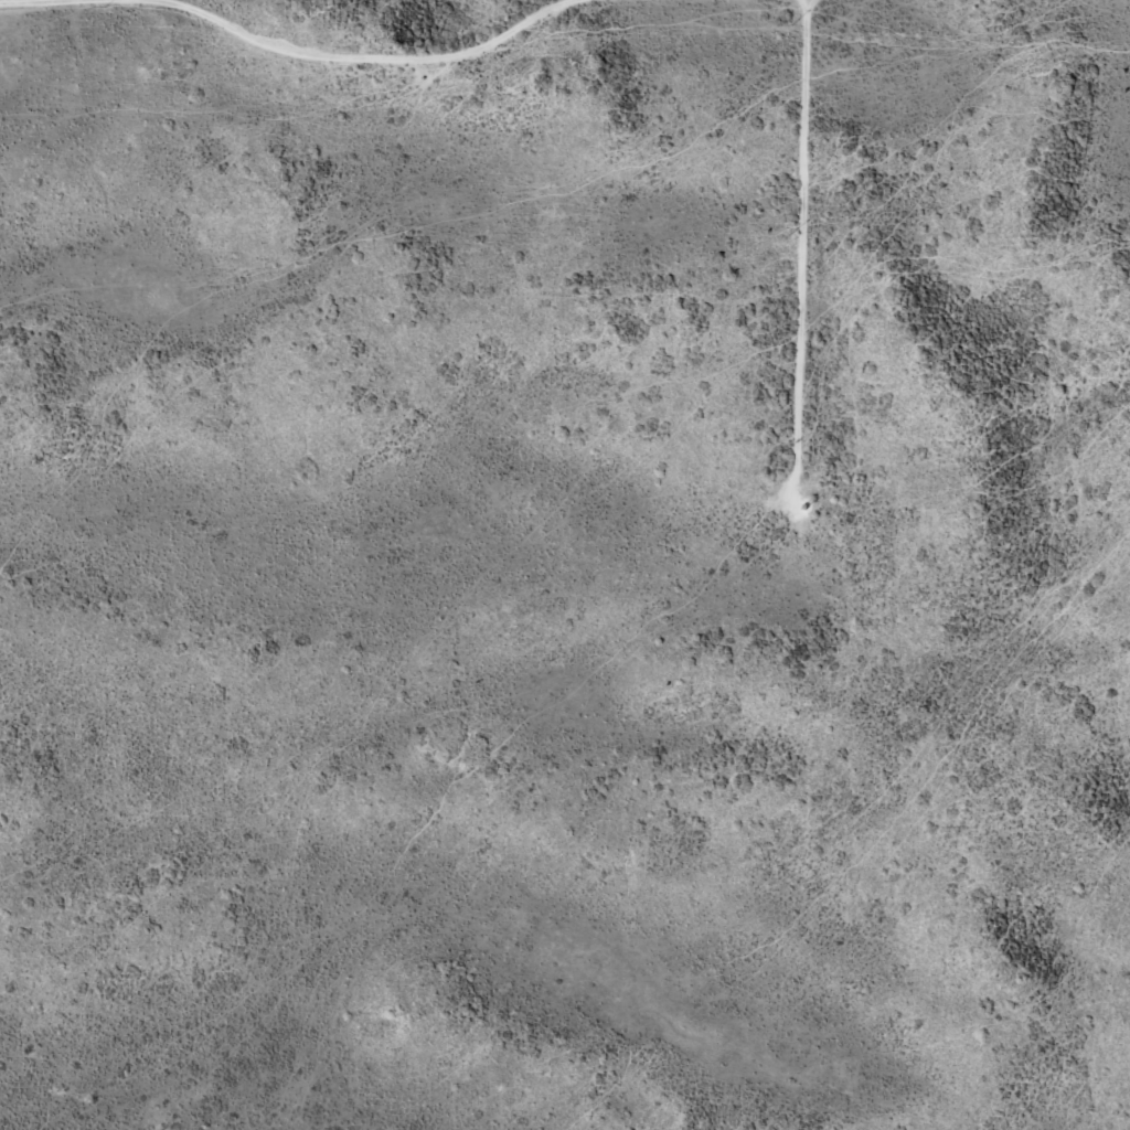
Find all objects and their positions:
road: (296, 55)

